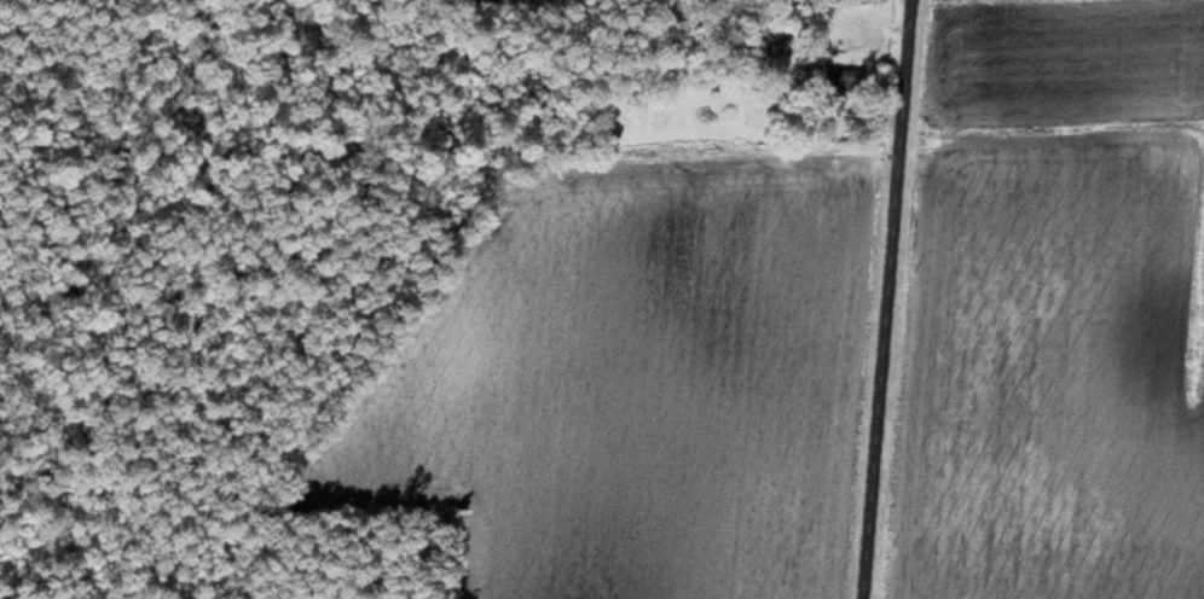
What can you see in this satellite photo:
building: (843, 77)
road: (886, 299)

